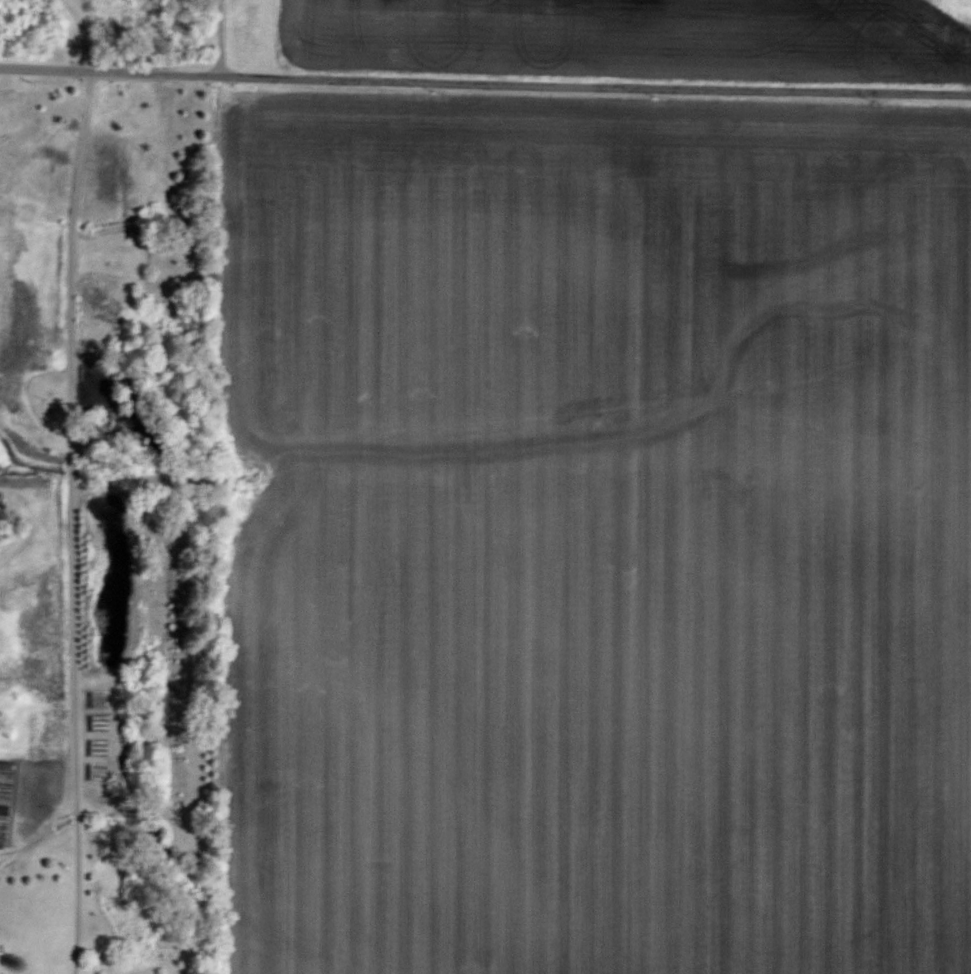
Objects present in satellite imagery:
road: (83, 33)
road: (218, 37)
road: (485, 82)
road: (72, 522)

